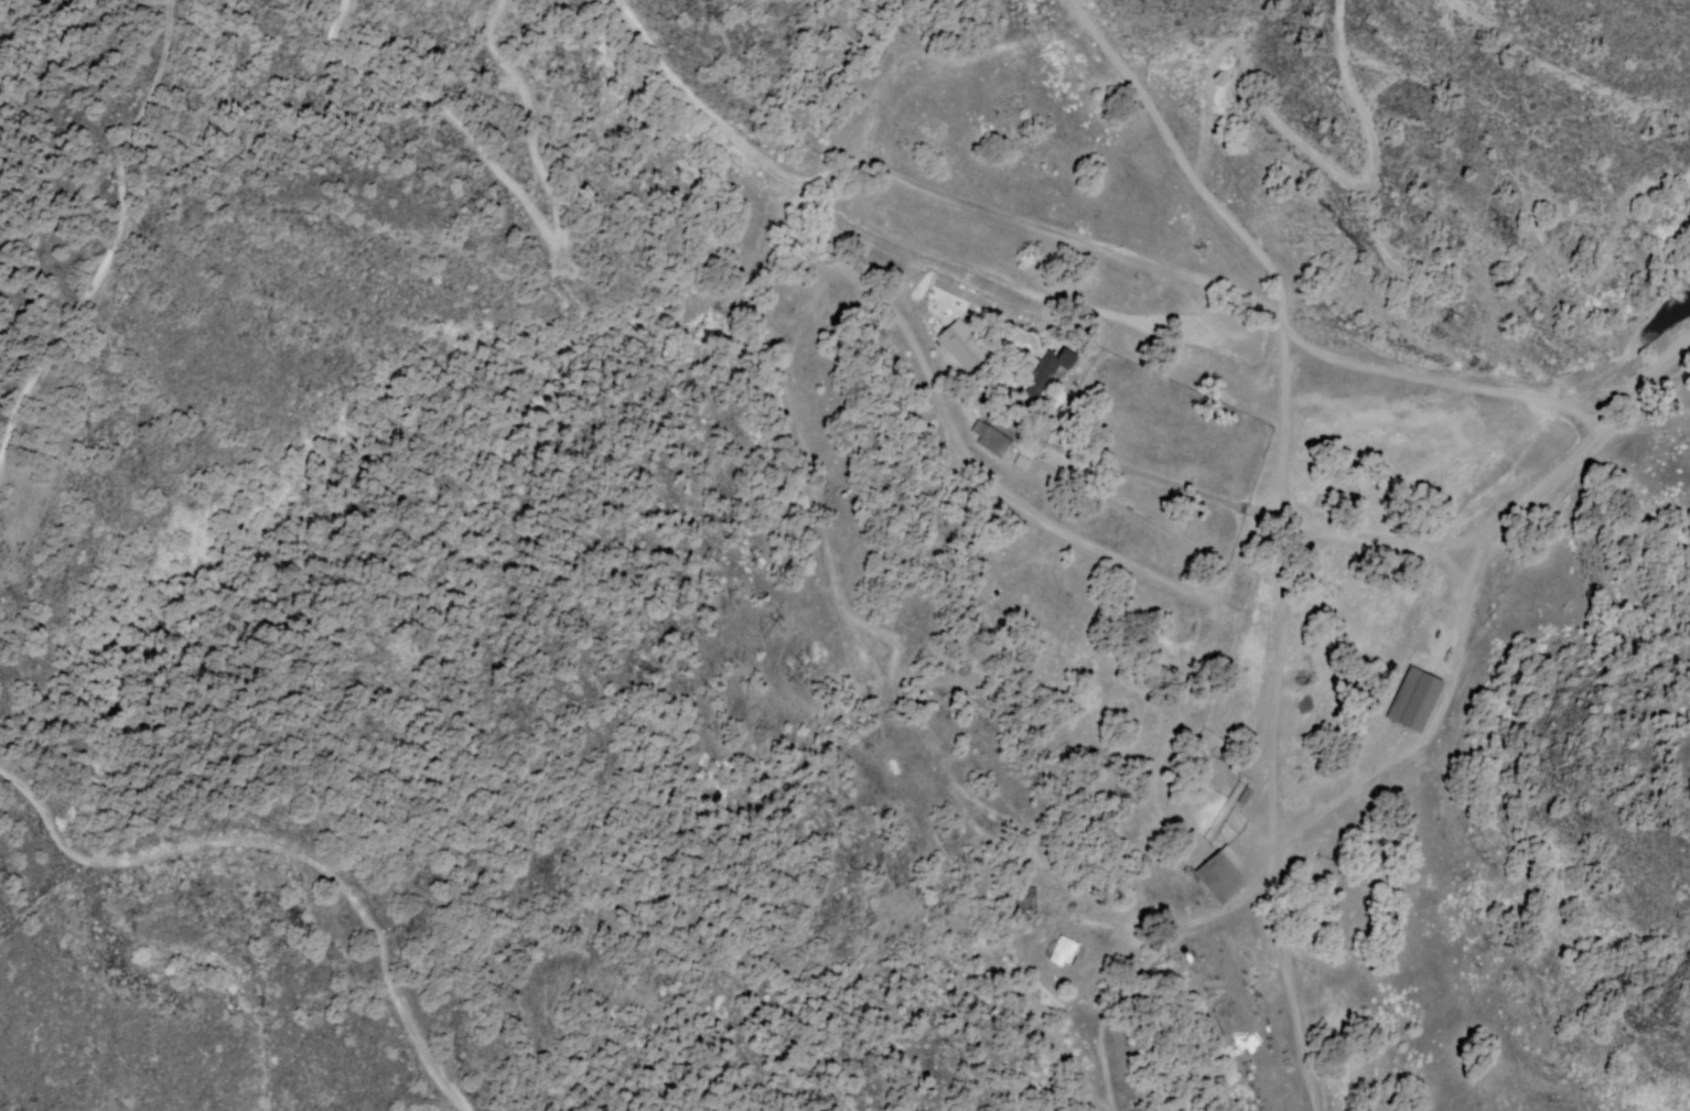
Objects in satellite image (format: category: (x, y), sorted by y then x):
road: (1270, 296)
building: (962, 347)
building: (1057, 364)
building: (986, 441)
road: (1544, 478)
building: (1414, 697)
building: (1246, 796)
building: (1223, 877)
building: (1025, 899)
building: (1061, 952)

